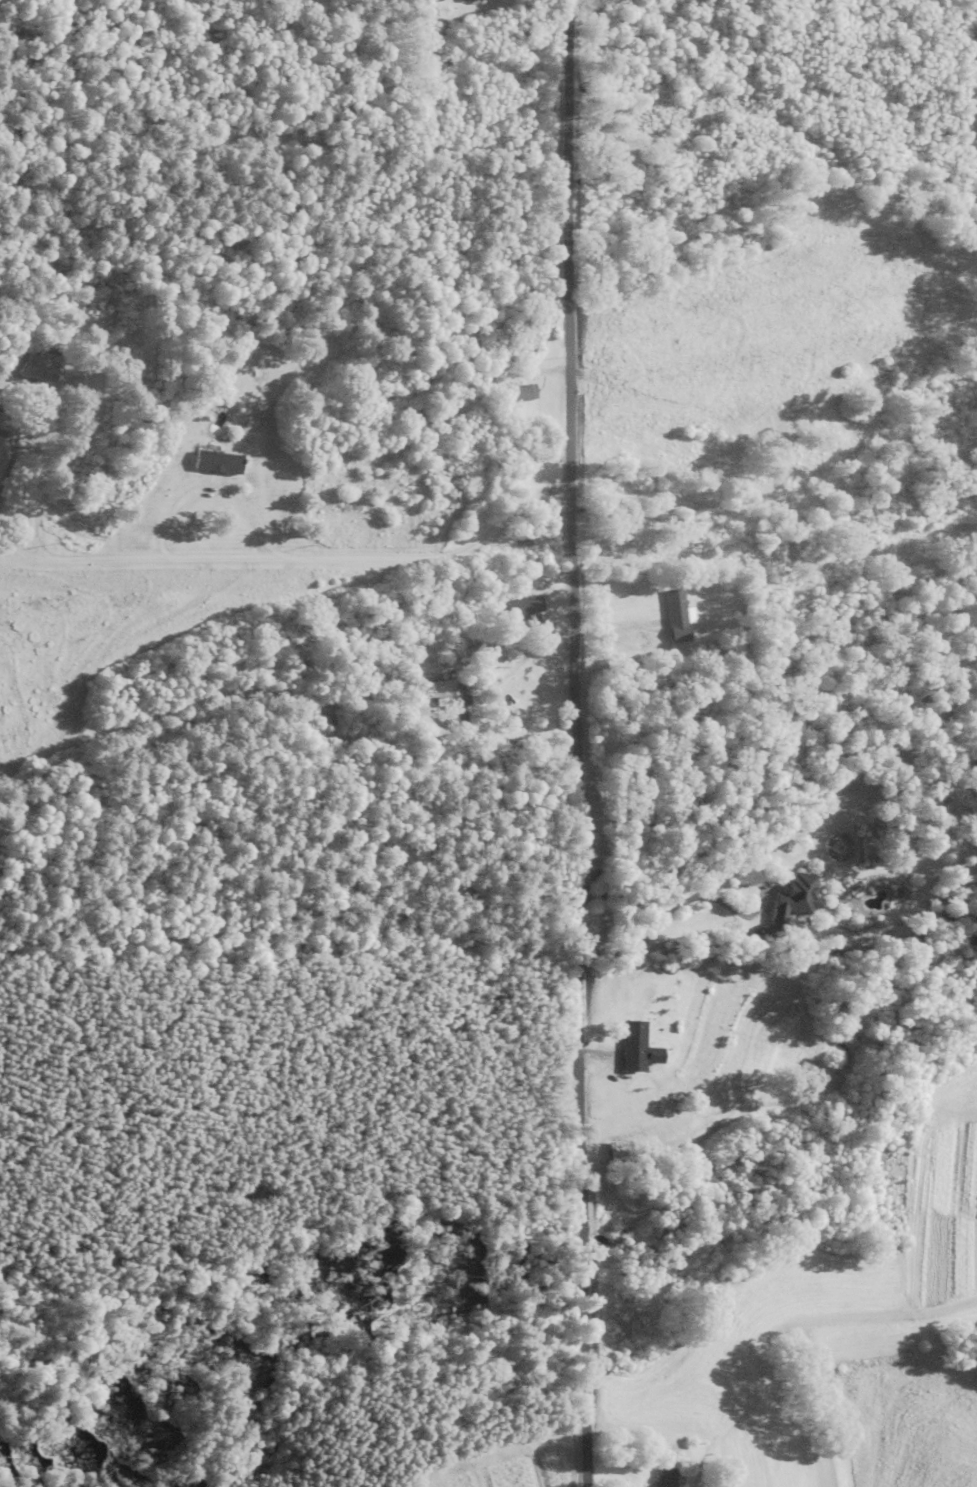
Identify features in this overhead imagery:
building: (642, 0)
building: (472, 1)
building: (108, 323)
building: (43, 373)
building: (521, 396)
building: (219, 465)
road: (33, 501)
road: (300, 559)
building: (531, 603)
building: (677, 608)
building: (443, 691)
road: (573, 743)
building: (786, 894)
building: (636, 1048)
building: (622, 1150)
building: (667, 1478)

